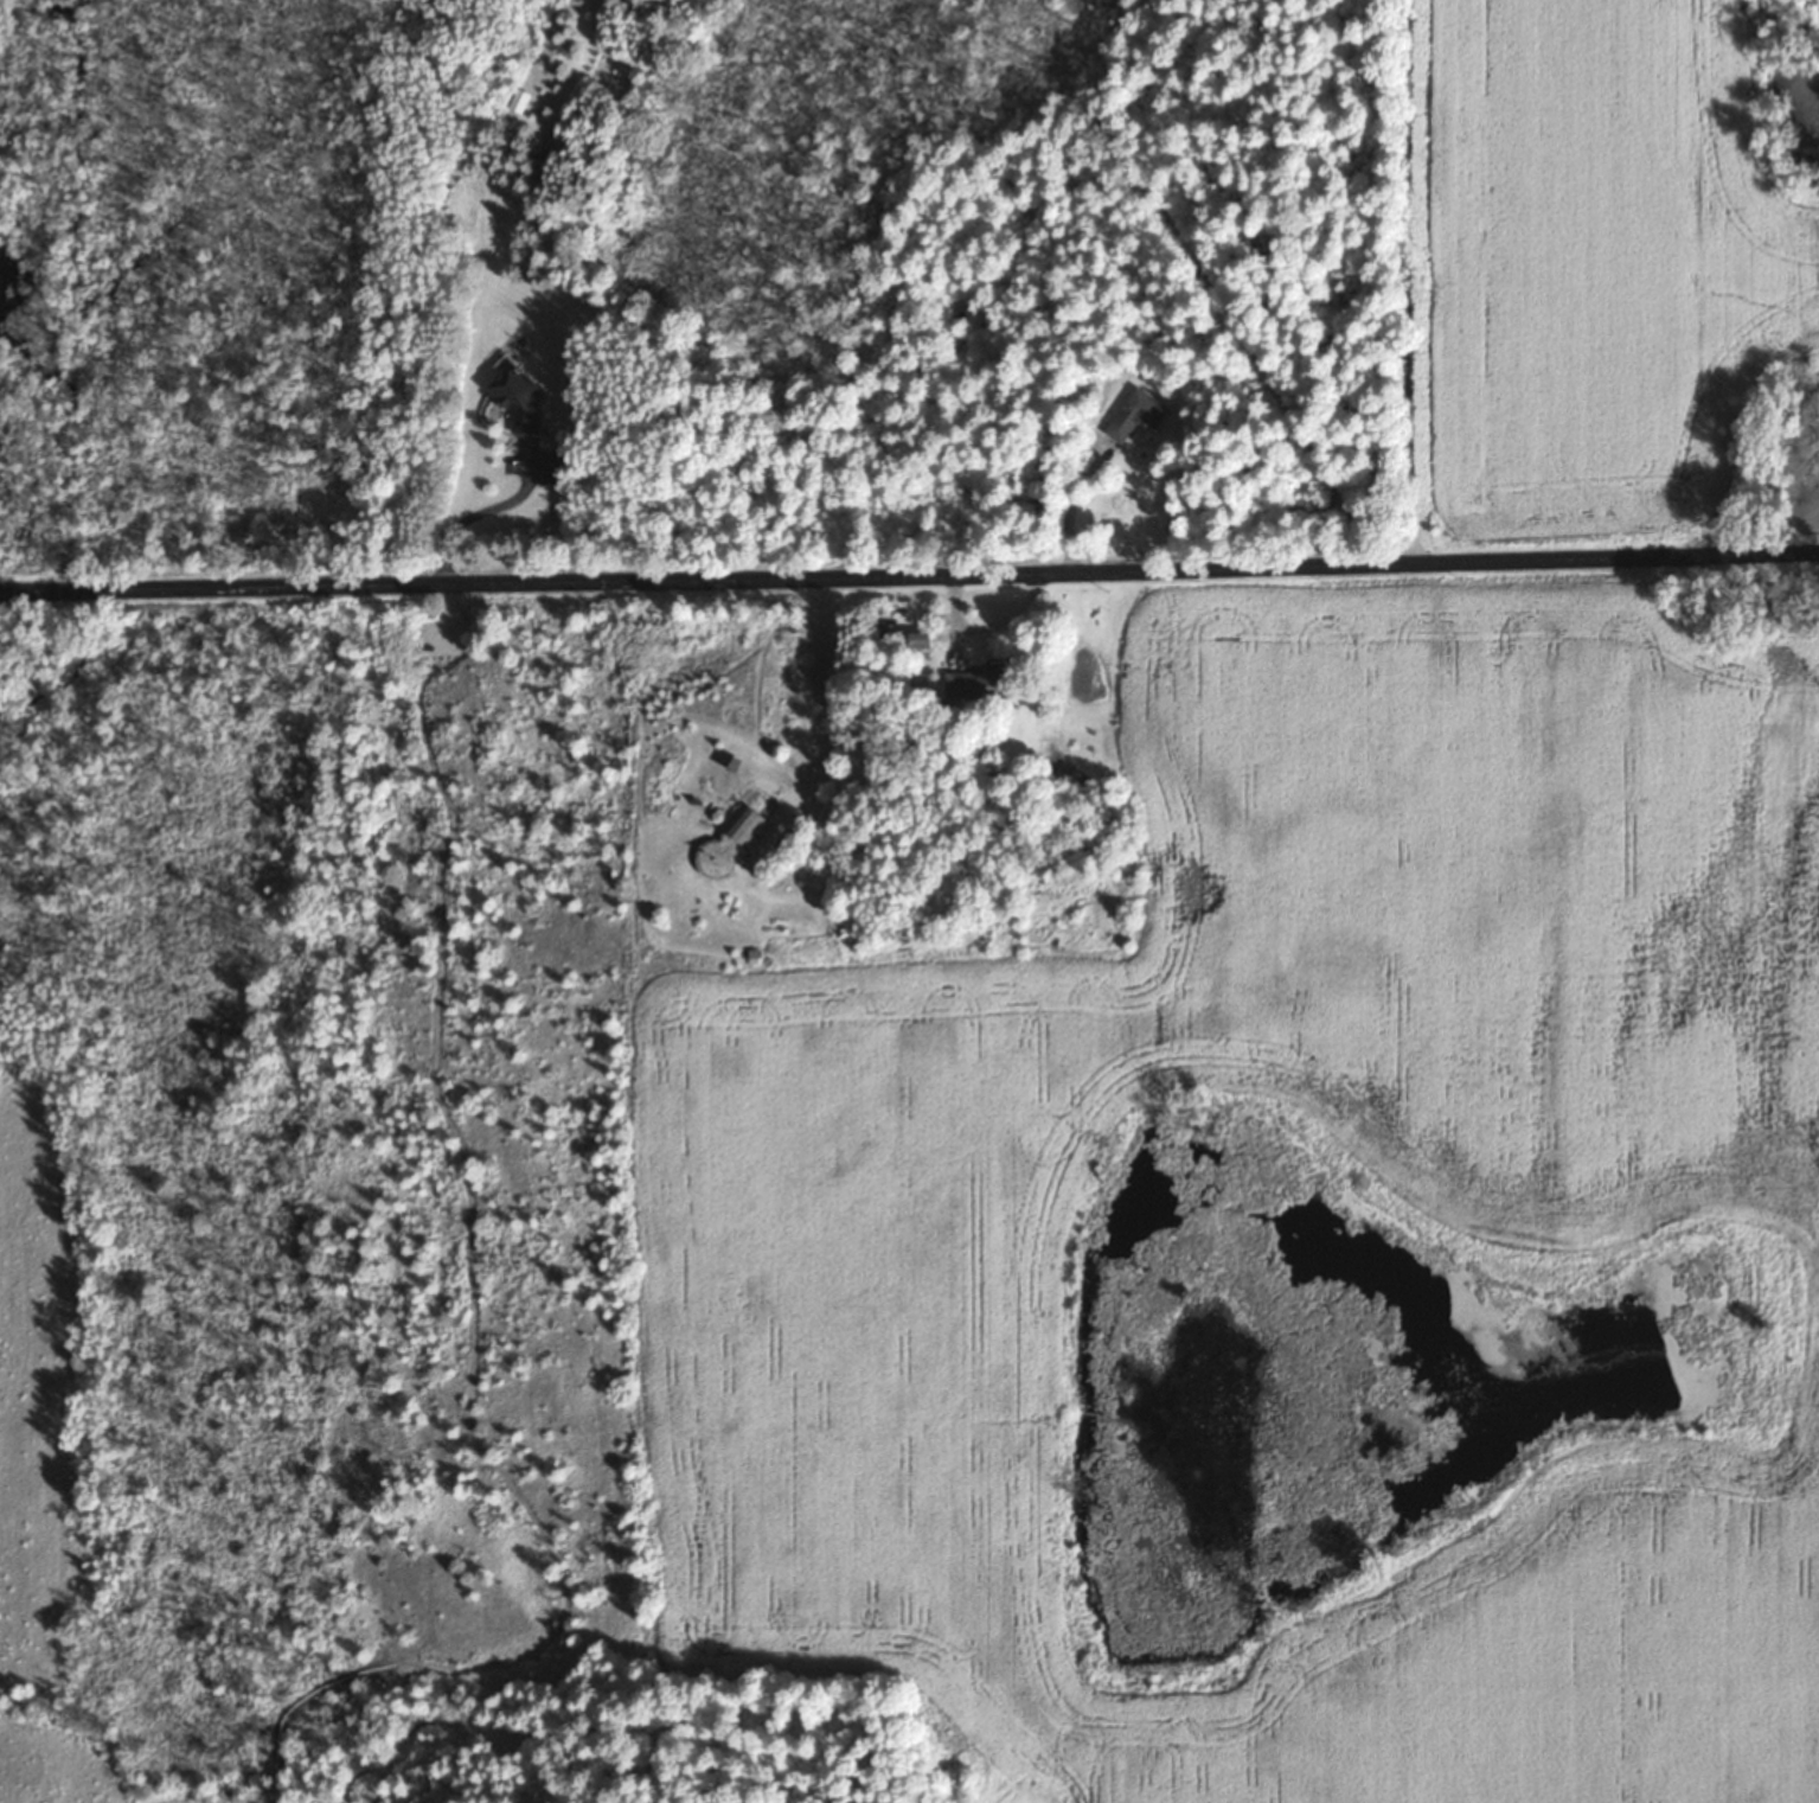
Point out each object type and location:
building: (1136, 413)
road: (469, 516)
road: (1128, 573)
road: (218, 588)
parking lot: (428, 631)
building: (923, 639)
building: (980, 682)
road: (821, 696)
building: (745, 823)
road: (469, 1308)

